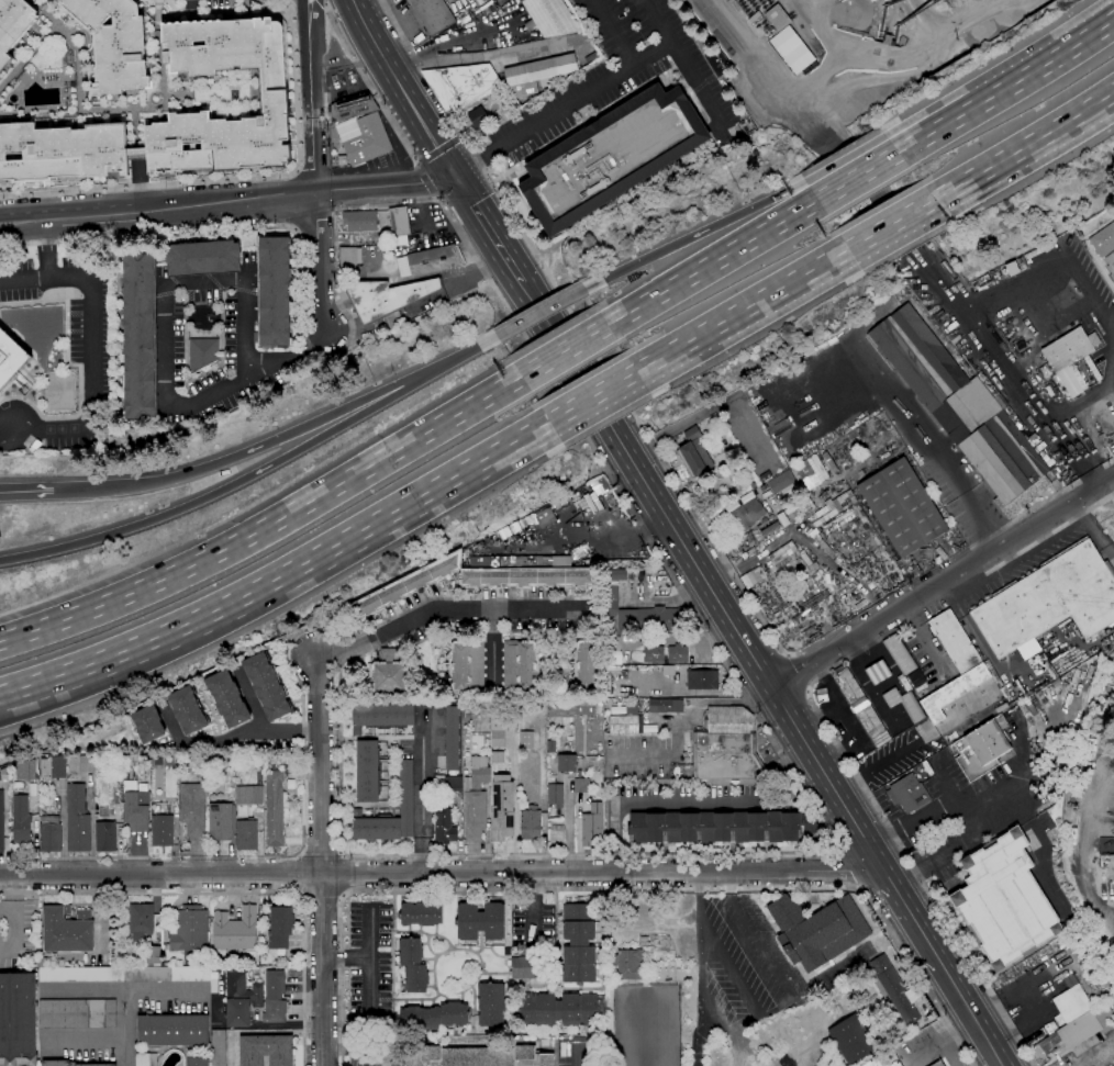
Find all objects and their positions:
road: (324, 2)
building: (433, 14)
road: (314, 16)
road: (307, 18)
building: (472, 18)
building: (550, 18)
building: (778, 18)
road: (657, 20)
road: (926, 21)
building: (13, 25)
building: (764, 25)
road: (611, 32)
road: (466, 37)
building: (888, 40)
building: (113, 42)
building: (799, 48)
road: (502, 51)
road: (907, 55)
road: (683, 61)
road: (1046, 64)
road: (408, 66)
building: (539, 74)
building: (460, 83)
road: (369, 86)
road: (400, 87)
building: (274, 96)
building: (353, 108)
building: (478, 117)
road: (542, 119)
road: (937, 130)
road: (460, 135)
building: (364, 138)
road: (1025, 148)
road: (437, 149)
building: (62, 153)
building: (611, 156)
building: (342, 160)
road: (870, 170)
road: (294, 171)
road: (296, 171)
road: (305, 171)
traffic signals: (453, 173)
road: (424, 180)
road: (314, 181)
road: (823, 184)
road: (298, 192)
road: (829, 193)
road: (436, 198)
road: (505, 206)
road: (102, 216)
road: (313, 216)
road: (47, 220)
road: (902, 220)
road: (16, 221)
building: (360, 221)
building: (399, 222)
road: (434, 223)
road: (16, 224)
road: (891, 225)
road: (487, 228)
road: (294, 229)
road: (694, 235)
road: (299, 239)
building: (1103, 240)
road: (48, 248)
building: (203, 257)
building: (350, 257)
building: (430, 261)
road: (712, 262)
road: (478, 263)
building: (1022, 263)
building: (1111, 266)
road: (477, 268)
building: (1012, 268)
road: (24, 278)
road: (469, 279)
building: (274, 292)
building: (387, 296)
road: (742, 311)
road: (541, 312)
building: (140, 336)
road: (856, 345)
road: (166, 347)
road: (564, 350)
building: (1068, 350)
building: (203, 354)
building: (10, 358)
road: (460, 358)
road: (541, 361)
road: (1010, 368)
road: (89, 380)
park: (57, 390)
road: (592, 396)
road: (717, 405)
building: (963, 412)
road: (1059, 417)
building: (692, 434)
parking lot: (750, 435)
fountain: (725, 441)
road: (401, 447)
road: (245, 455)
building: (694, 458)
building: (829, 461)
road: (673, 464)
building: (810, 472)
flagpole: (683, 474)
building: (781, 481)
road: (647, 485)
building: (738, 487)
building: (761, 489)
road: (220, 490)
road: (27, 492)
building: (587, 493)
building: (610, 498)
road: (1105, 500)
building: (784, 505)
road: (1102, 505)
building: (836, 506)
building: (902, 507)
building: (791, 508)
building: (748, 512)
building: (544, 517)
building: (782, 519)
building: (770, 529)
road: (613, 537)
building: (823, 545)
building: (790, 558)
road: (282, 577)
building: (470, 582)
road: (942, 583)
road: (145, 588)
building: (612, 602)
building: (1049, 604)
road: (441, 609)
building: (658, 619)
road: (827, 636)
road: (291, 640)
building: (955, 641)
road: (492, 646)
building: (611, 649)
building: (654, 653)
building: (678, 653)
building: (521, 664)
building: (586, 665)
building: (467, 666)
building: (668, 670)
road: (800, 670)
building: (1090, 671)
building: (992, 673)
building: (389, 674)
building: (702, 681)
building: (1056, 683)
building: (267, 686)
building: (1109, 688)
building: (954, 692)
building: (227, 698)
road: (249, 699)
building: (608, 702)
building: (584, 703)
building: (666, 706)
building: (475, 707)
building: (861, 707)
building: (560, 708)
building: (583, 708)
building: (188, 710)
building: (381, 717)
building: (627, 721)
building: (148, 723)
building: (497, 730)
road: (831, 731)
road: (231, 737)
building: (452, 740)
building: (526, 740)
road: (803, 742)
building: (726, 745)
road: (917, 745)
building: (552, 747)
building: (982, 748)
building: (229, 761)
building: (86, 763)
building: (567, 763)
building: (52, 767)
building: (368, 772)
building: (3, 775)
building: (259, 776)
road: (945, 779)
building: (447, 783)
building: (581, 785)
building: (907, 793)
building: (248, 795)
building: (556, 795)
building: (406, 797)
building: (476, 799)
road: (645, 799)
road: (968, 800)
building: (136, 806)
building: (193, 808)
building: (275, 808)
building: (502, 808)
building: (103, 812)
building: (21, 820)
building: (78, 820)
building: (1, 822)
building: (221, 822)
building: (531, 822)
building: (592, 826)
building: (376, 827)
building: (444, 827)
building: (720, 827)
building: (163, 831)
road: (829, 831)
road: (569, 833)
building: (51, 834)
building: (246, 834)
building: (105, 837)
road: (967, 840)
road: (342, 852)
road: (1080, 852)
road: (875, 856)
road: (320, 861)
building: (1106, 864)
road: (844, 869)
road: (442, 872)
road: (237, 891)
road: (621, 891)
road: (699, 894)
building: (814, 899)
building: (1004, 900)
building: (421, 913)
building: (142, 919)
building: (480, 921)
building: (280, 927)
building: (67, 930)
building: (235, 930)
building: (817, 930)
building: (190, 932)
parking lot: (14, 934)
building: (579, 943)
road: (371, 955)
road: (767, 955)
building: (154, 956)
building: (628, 964)
building: (413, 965)
road: (729, 966)
building: (523, 967)
building: (81, 974)
building: (167, 974)
building: (213, 985)
road: (371, 986)
building: (894, 989)
road: (85, 990)
road: (126, 990)
road: (958, 991)
building: (275, 997)
building: (241, 999)
building: (1070, 1000)
building: (491, 1005)
road: (701, 1008)
building: (558, 1010)
building: (77, 1013)
building: (433, 1017)
building: (18, 1020)
park: (645, 1025)
building: (1050, 1028)
road: (1014, 1029)
building: (172, 1030)
building: (1073, 1033)
road: (948, 1036)
road: (87, 1040)
building: (853, 1040)
building: (545, 1043)
building: (218, 1047)
park: (778, 1048)
road: (232, 1050)
building: (266, 1051)
building: (477, 1056)
road: (577, 1058)
building: (146, 1059)
building: (198, 1062)
building: (69, 1064)
building: (938, 1064)

